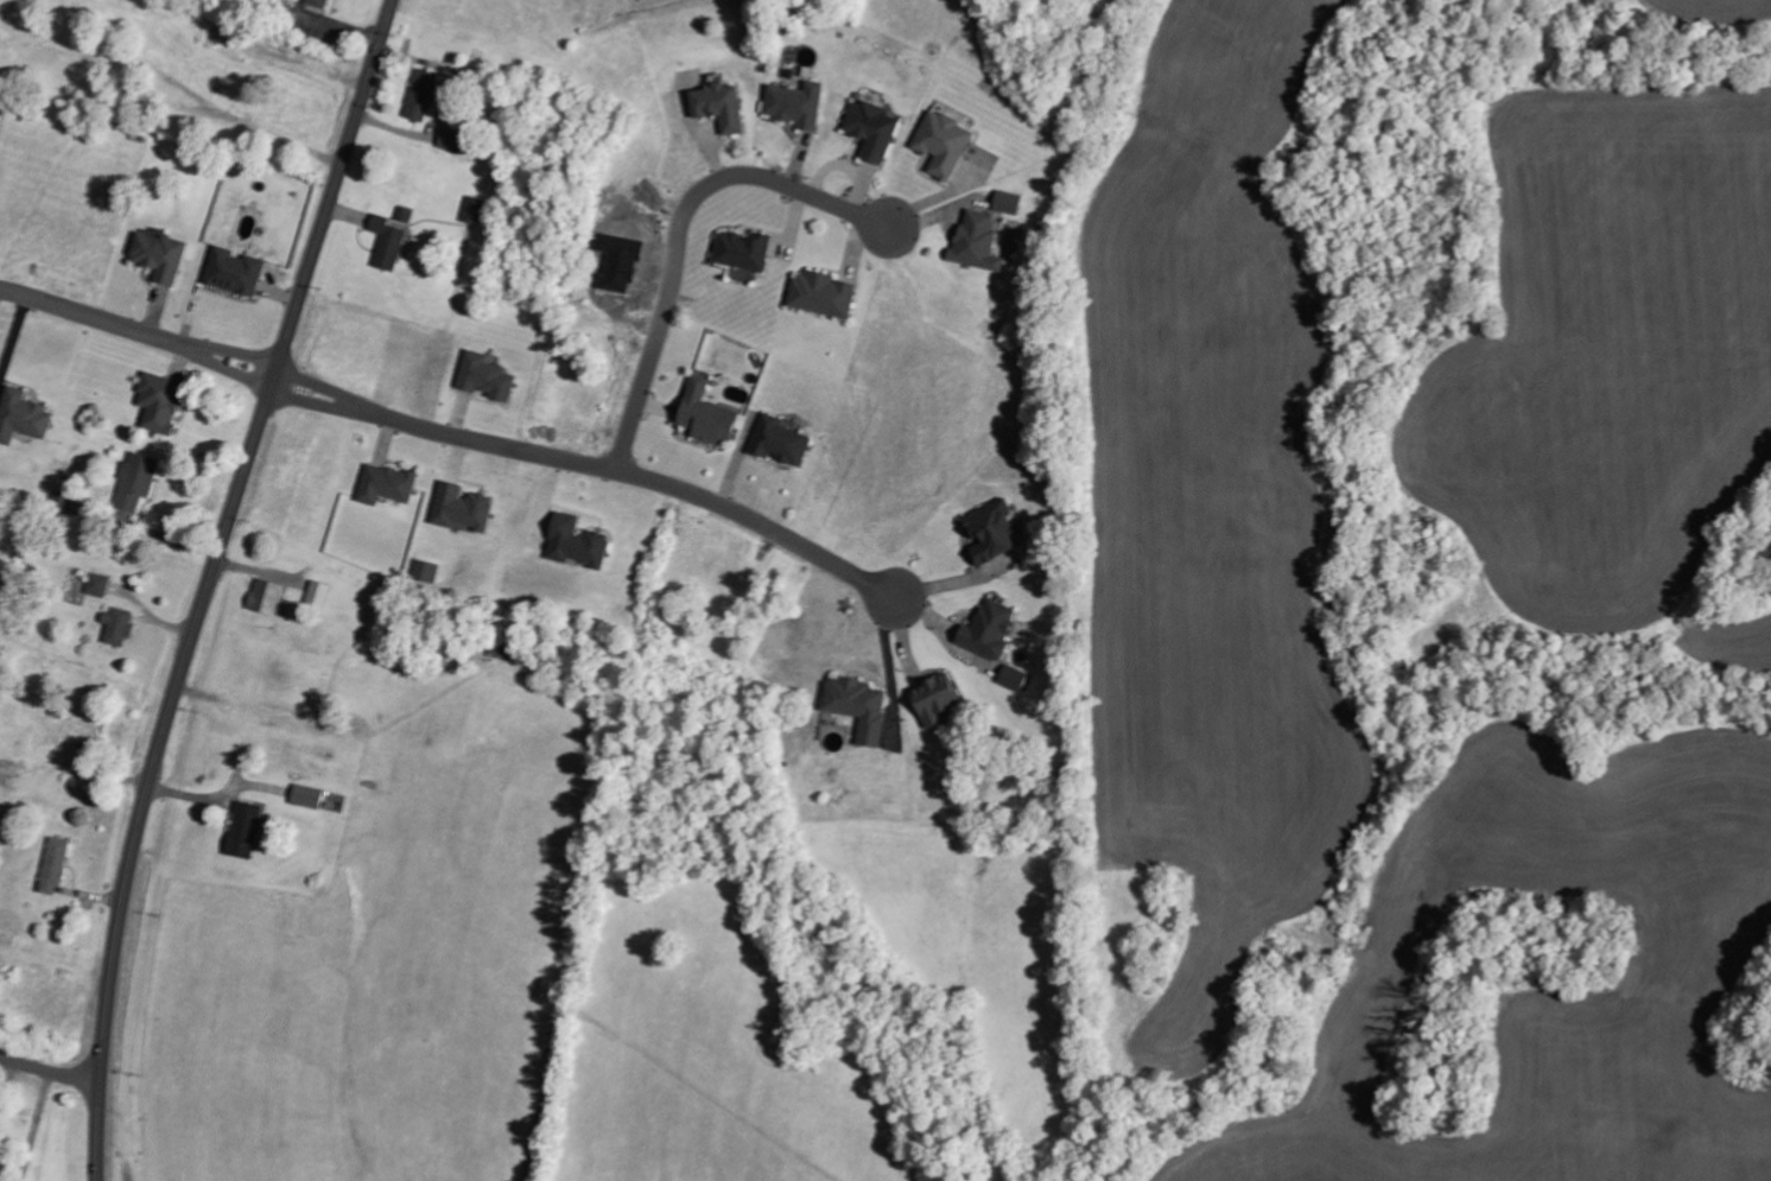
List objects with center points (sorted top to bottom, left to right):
building: (317, 2)
building: (285, 13)
building: (420, 96)
building: (795, 104)
building: (718, 107)
building: (871, 131)
building: (451, 141)
building: (942, 144)
building: (1007, 203)
building: (472, 210)
road: (683, 230)
building: (976, 242)
building: (387, 243)
building: (742, 252)
building: (158, 258)
building: (233, 272)
building: (821, 296)
road: (139, 332)
building: (484, 377)
building: (158, 404)
building: (705, 415)
building: (21, 417)
building: (779, 443)
road: (597, 466)
building: (135, 482)
building: (385, 485)
building: (62, 504)
building: (461, 509)
building: (991, 532)
building: (575, 544)
building: (425, 572)
road: (210, 582)
building: (97, 585)
crop: (1436, 586)
building: (266, 597)
building: (318, 597)
building: (118, 627)
building: (988, 629)
building: (1014, 678)
building: (933, 699)
building: (857, 705)
building: (6, 769)
building: (306, 796)
building: (243, 830)
building: (53, 865)
road: (50, 1069)

